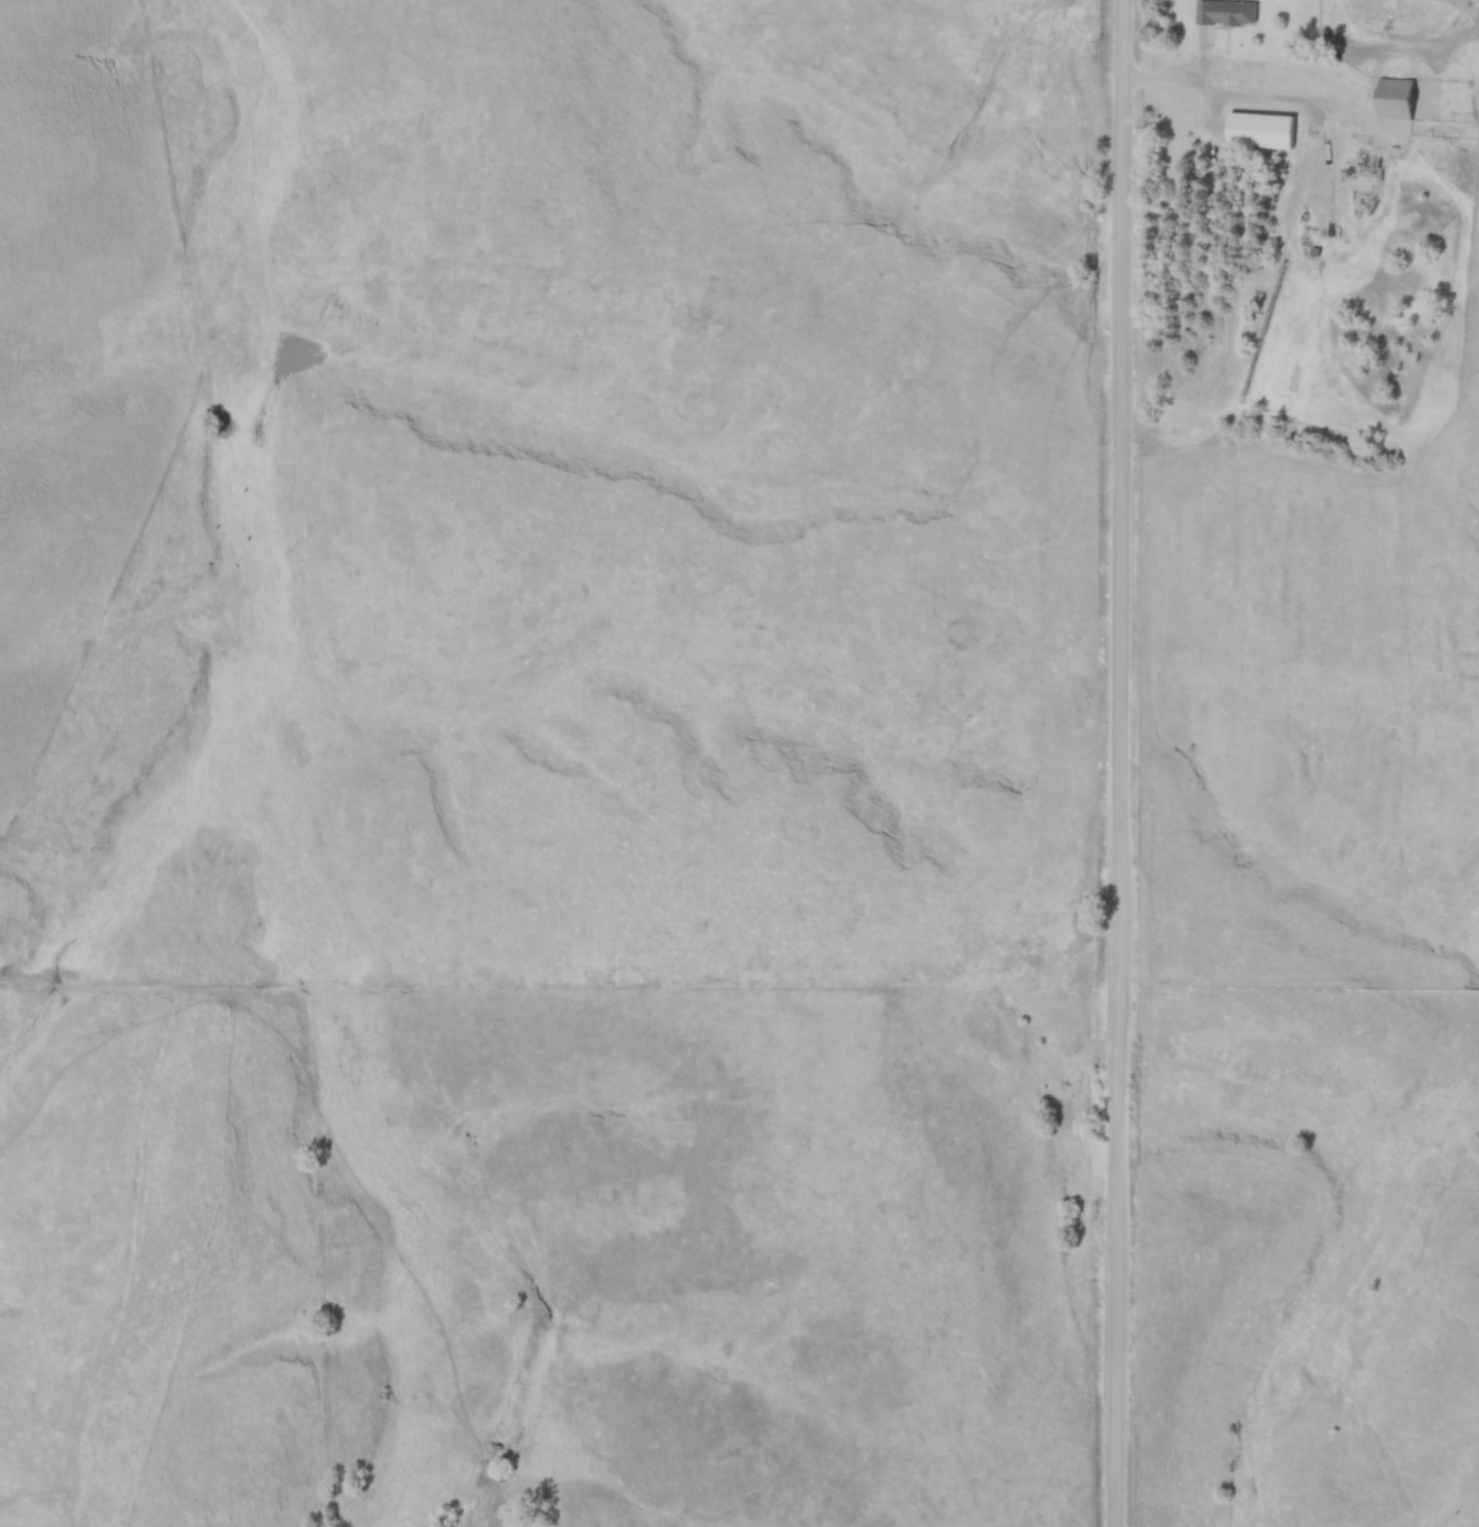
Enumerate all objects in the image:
building: (1226, 13)
road: (1179, 78)
building: (1259, 132)
road: (1116, 763)

